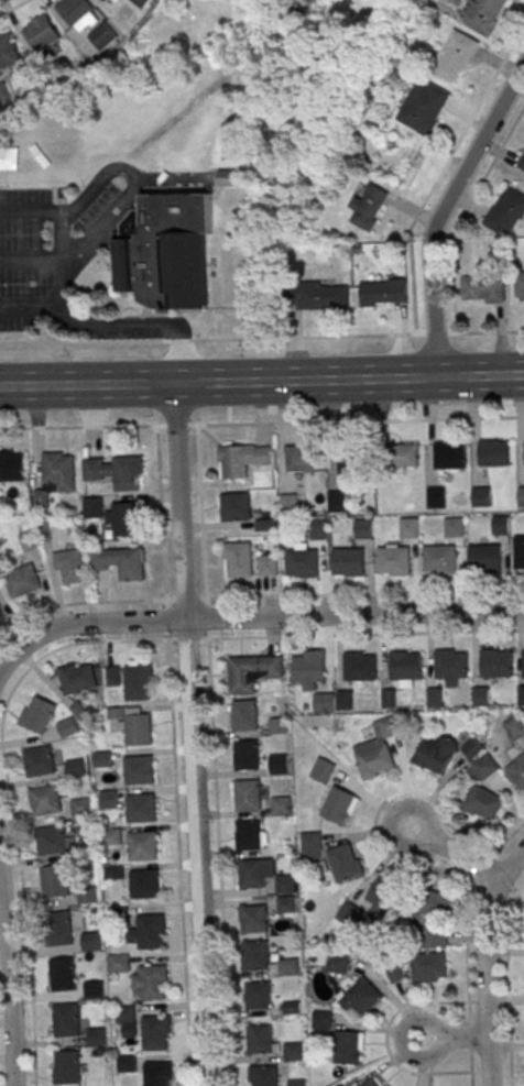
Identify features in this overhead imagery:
building: (105, 0)
building: (112, 2)
building: (142, 2)
road: (12, 7)
building: (78, 13)
building: (484, 15)
building: (39, 35)
building: (103, 35)
building: (8, 52)
building: (456, 56)
building: (3, 92)
building: (423, 106)
building: (521, 162)
building: (228, 176)
road: (98, 183)
building: (368, 207)
road: (440, 209)
building: (505, 211)
road: (53, 213)
building: (165, 251)
road: (31, 261)
road: (63, 270)
parking lot: (54, 276)
road: (64, 282)
building: (520, 283)
building: (483, 288)
building: (383, 292)
building: (320, 296)
road: (32, 312)
road: (469, 332)
road: (208, 340)
road: (261, 380)
road: (262, 424)
building: (493, 452)
building: (449, 454)
building: (404, 456)
building: (299, 458)
building: (242, 460)
building: (351, 461)
building: (11, 465)
building: (114, 471)
building: (55, 476)
building: (521, 495)
building: (481, 496)
building: (337, 501)
building: (288, 503)
building: (234, 506)
building: (92, 507)
road: (200, 512)
building: (123, 518)
building: (501, 525)
building: (408, 527)
building: (454, 527)
building: (362, 528)
building: (318, 529)
building: (28, 541)
building: (518, 552)
building: (484, 557)
building: (438, 559)
building: (237, 560)
building: (393, 560)
building: (301, 561)
building: (347, 561)
building: (120, 562)
building: (266, 564)
building: (68, 567)
building: (22, 581)
road: (364, 594)
road: (164, 600)
road: (77, 602)
building: (0, 604)
road: (354, 614)
road: (86, 622)
road: (365, 633)
building: (496, 662)
building: (523, 662)
building: (449, 663)
building: (405, 666)
building: (359, 667)
building: (308, 668)
building: (252, 671)
building: (77, 678)
building: (138, 682)
building: (521, 694)
building: (481, 695)
building: (435, 696)
building: (389, 698)
building: (345, 700)
building: (324, 702)
building: (36, 713)
building: (243, 715)
building: (66, 726)
building: (276, 726)
building: (137, 727)
building: (515, 727)
road: (193, 733)
building: (472, 748)
building: (378, 749)
building: (247, 754)
building: (436, 754)
building: (102, 758)
building: (39, 760)
building: (279, 764)
building: (74, 767)
building: (483, 767)
building: (139, 769)
building: (323, 770)
building: (517, 772)
building: (247, 794)
building: (108, 799)
building: (44, 800)
building: (482, 802)
building: (281, 805)
building: (339, 805)
building: (80, 808)
building: (140, 808)
building: (250, 834)
building: (111, 836)
building: (54, 841)
building: (142, 845)
building: (312, 845)
road: (457, 854)
road: (219, 862)
building: (345, 862)
road: (179, 863)
building: (264, 876)
building: (52, 881)
building: (144, 884)
building: (383, 895)
building: (86, 896)
building: (439, 901)
building: (286, 903)
building: (348, 914)
building: (253, 919)
building: (57, 928)
building: (150, 931)
building: (89, 941)
building: (255, 955)
road: (485, 962)
building: (118, 963)
building: (337, 963)
building: (429, 967)
building: (61, 974)
building: (395, 974)
road: (10, 980)
building: (152, 980)
building: (92, 989)
building: (258, 995)
building: (361, 996)
building: (124, 1013)
building: (64, 1019)
building: (321, 1019)
building: (155, 1031)
building: (95, 1035)
building: (262, 1039)
road: (457, 1039)
building: (348, 1047)
building: (294, 1051)
building: (125, 1063)
building: (65, 1068)
building: (157, 1074)
building: (263, 1075)
building: (373, 1082)
building: (295, 1083)
building: (341, 1085)

